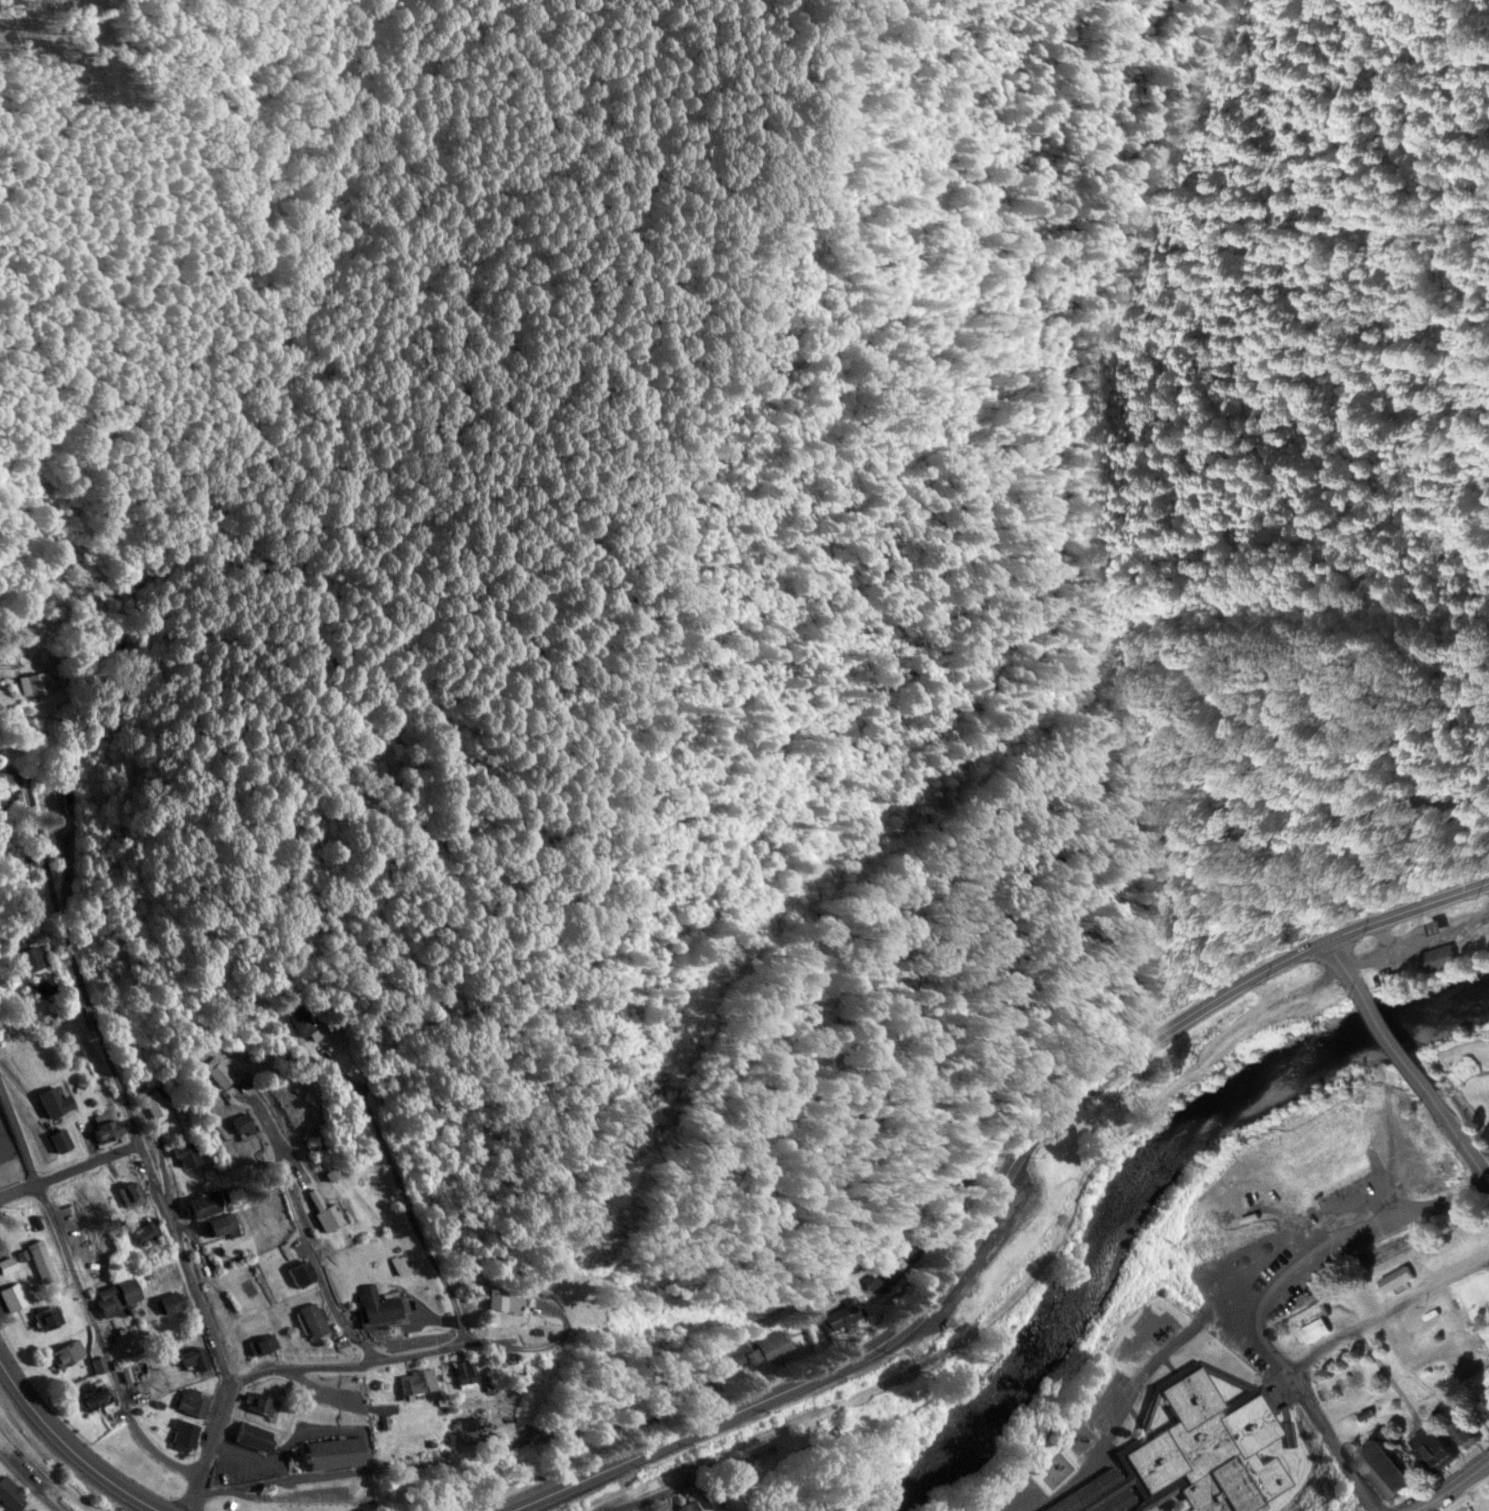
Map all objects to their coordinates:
road: (24, 640)
building: (35, 681)
building: (1, 701)
road: (1405, 907)
building: (27, 952)
building: (1438, 958)
road: (1335, 960)
building: (1395, 979)
building: (41, 983)
building: (300, 1021)
road: (1388, 1036)
building: (215, 1069)
road: (111, 1072)
building: (53, 1099)
building: (155, 1102)
building: (241, 1123)
building: (105, 1124)
road: (1458, 1135)
building: (59, 1137)
building: (186, 1152)
road: (1485, 1165)
building: (1322, 1166)
road: (68, 1171)
road: (1073, 1187)
road: (402, 1190)
building: (130, 1191)
river: (1147, 1201)
building: (203, 1202)
building: (323, 1209)
building: (218, 1223)
road: (301, 1225)
building: (143, 1230)
building: (5, 1256)
building: (43, 1261)
building: (400, 1262)
building: (299, 1271)
road: (953, 1272)
building: (873, 1277)
building: (1395, 1278)
building: (978, 1293)
building: (13, 1294)
building: (116, 1295)
building: (500, 1298)
road: (83, 1299)
building: (169, 1301)
building: (377, 1303)
building: (840, 1312)
building: (48, 1315)
building: (311, 1317)
building: (1314, 1329)
building: (261, 1342)
road: (540, 1342)
building: (769, 1343)
building: (66, 1351)
road: (1324, 1352)
building: (192, 1356)
road: (351, 1361)
building: (98, 1363)
building: (462, 1372)
building: (416, 1379)
building: (92, 1396)
building: (192, 1401)
building: (1484, 1401)
building: (259, 1402)
road: (555, 1422)
building: (463, 1431)
building: (183, 1433)
building: (1463, 1433)
building: (251, 1434)
road: (75, 1441)
road: (208, 1447)
building: (1431, 1447)
building: (1210, 1448)
building: (331, 1451)
road: (46, 1464)
building: (1383, 1469)
road: (34, 1473)
building: (744, 1478)
road: (1442, 1486)
building: (10, 1493)
road: (647, 1495)
building: (688, 1505)
road: (1405, 1508)
building: (1171, 1510)

